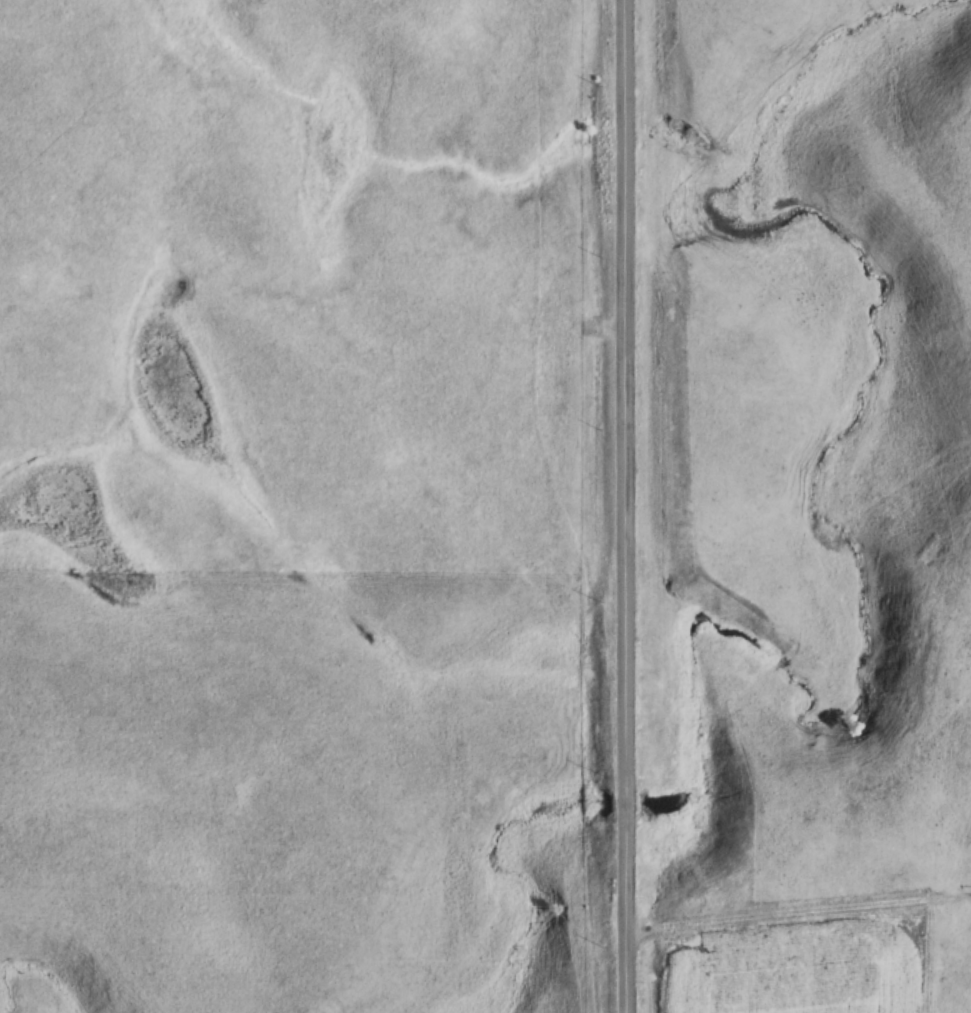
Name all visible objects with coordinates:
road: (623, 397)
road: (623, 803)
road: (623, 913)

